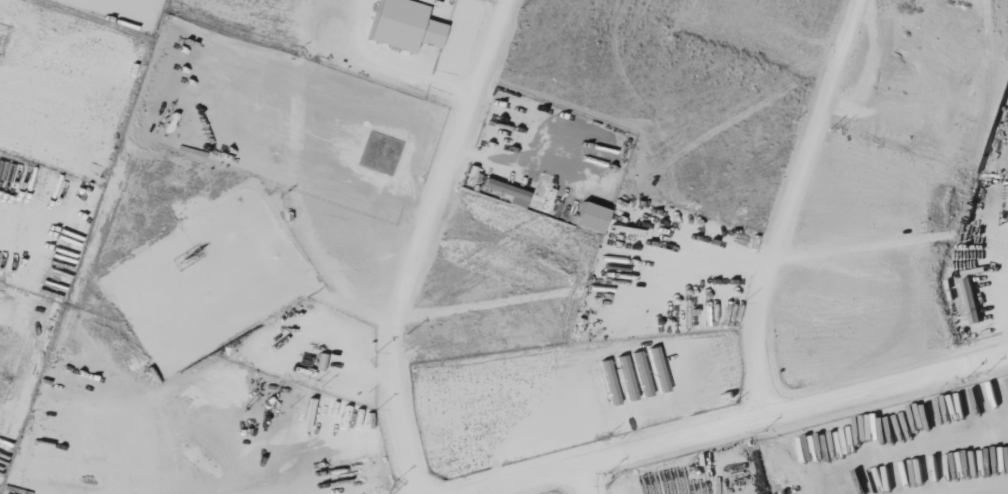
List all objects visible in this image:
building: (407, 25)
building: (507, 189)
road: (783, 201)
building: (594, 217)
road: (925, 238)
road: (415, 242)
petroleum well: (189, 246)
road: (1006, 251)
road: (739, 423)
road: (596, 477)

